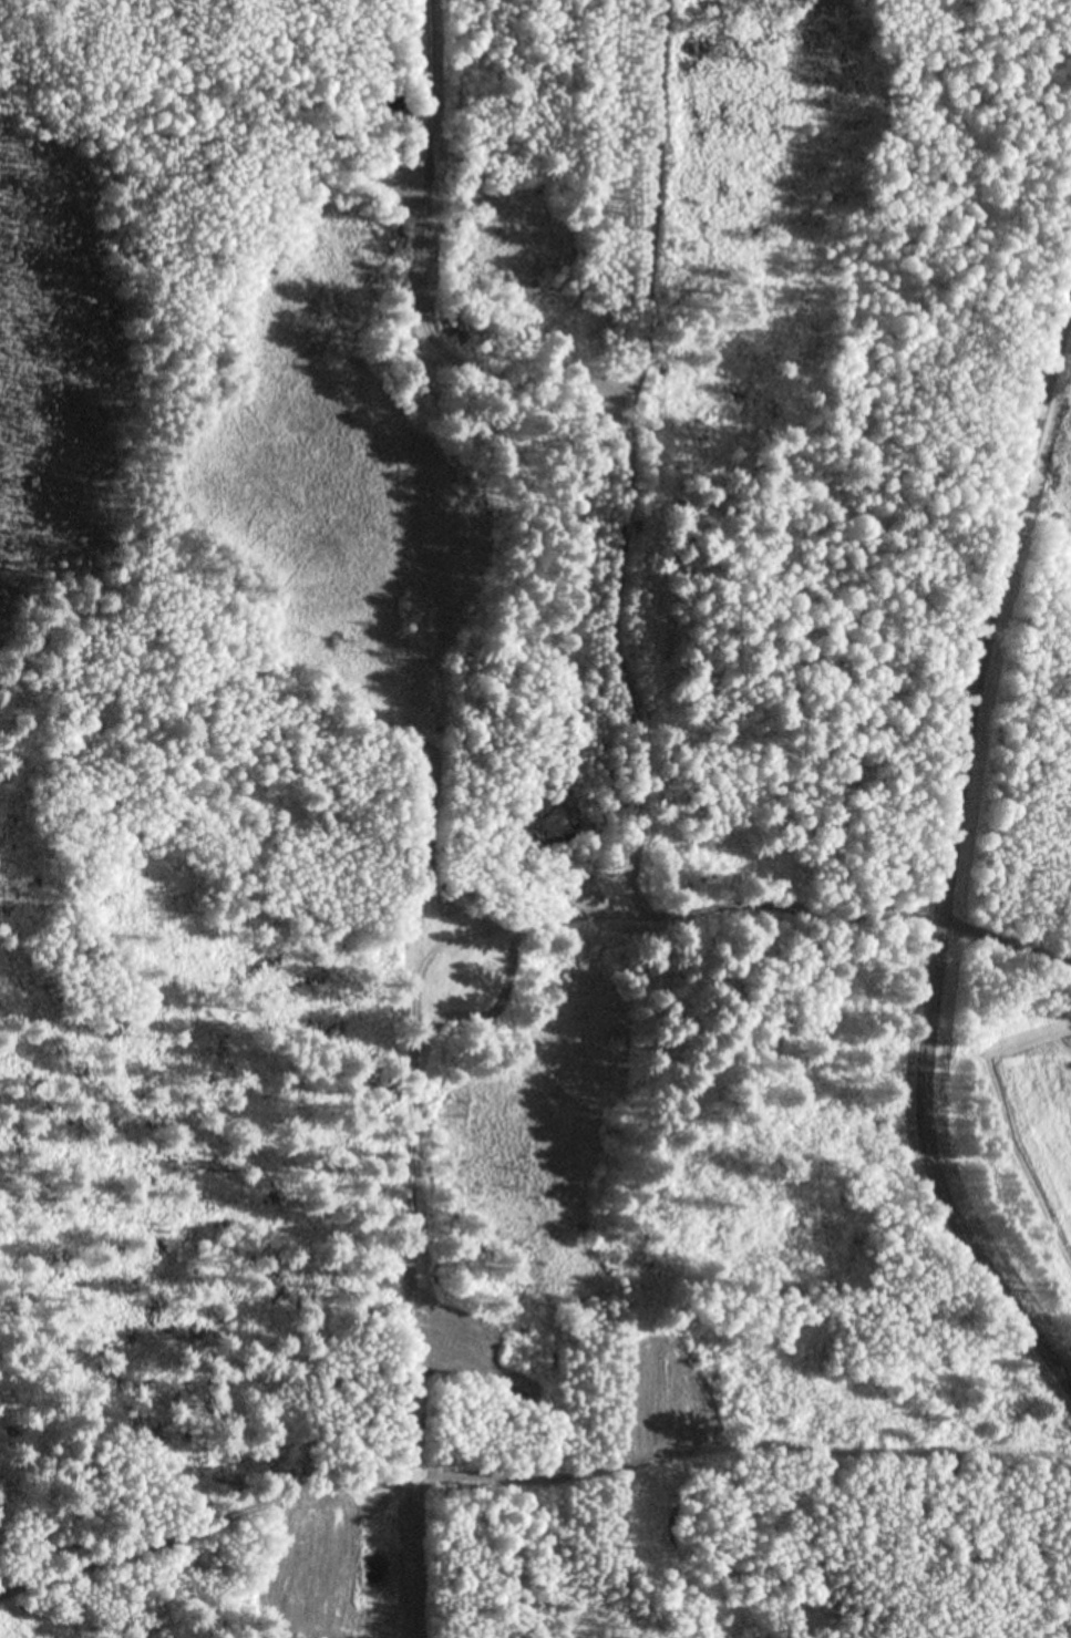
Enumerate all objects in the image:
road: (951, 854)

